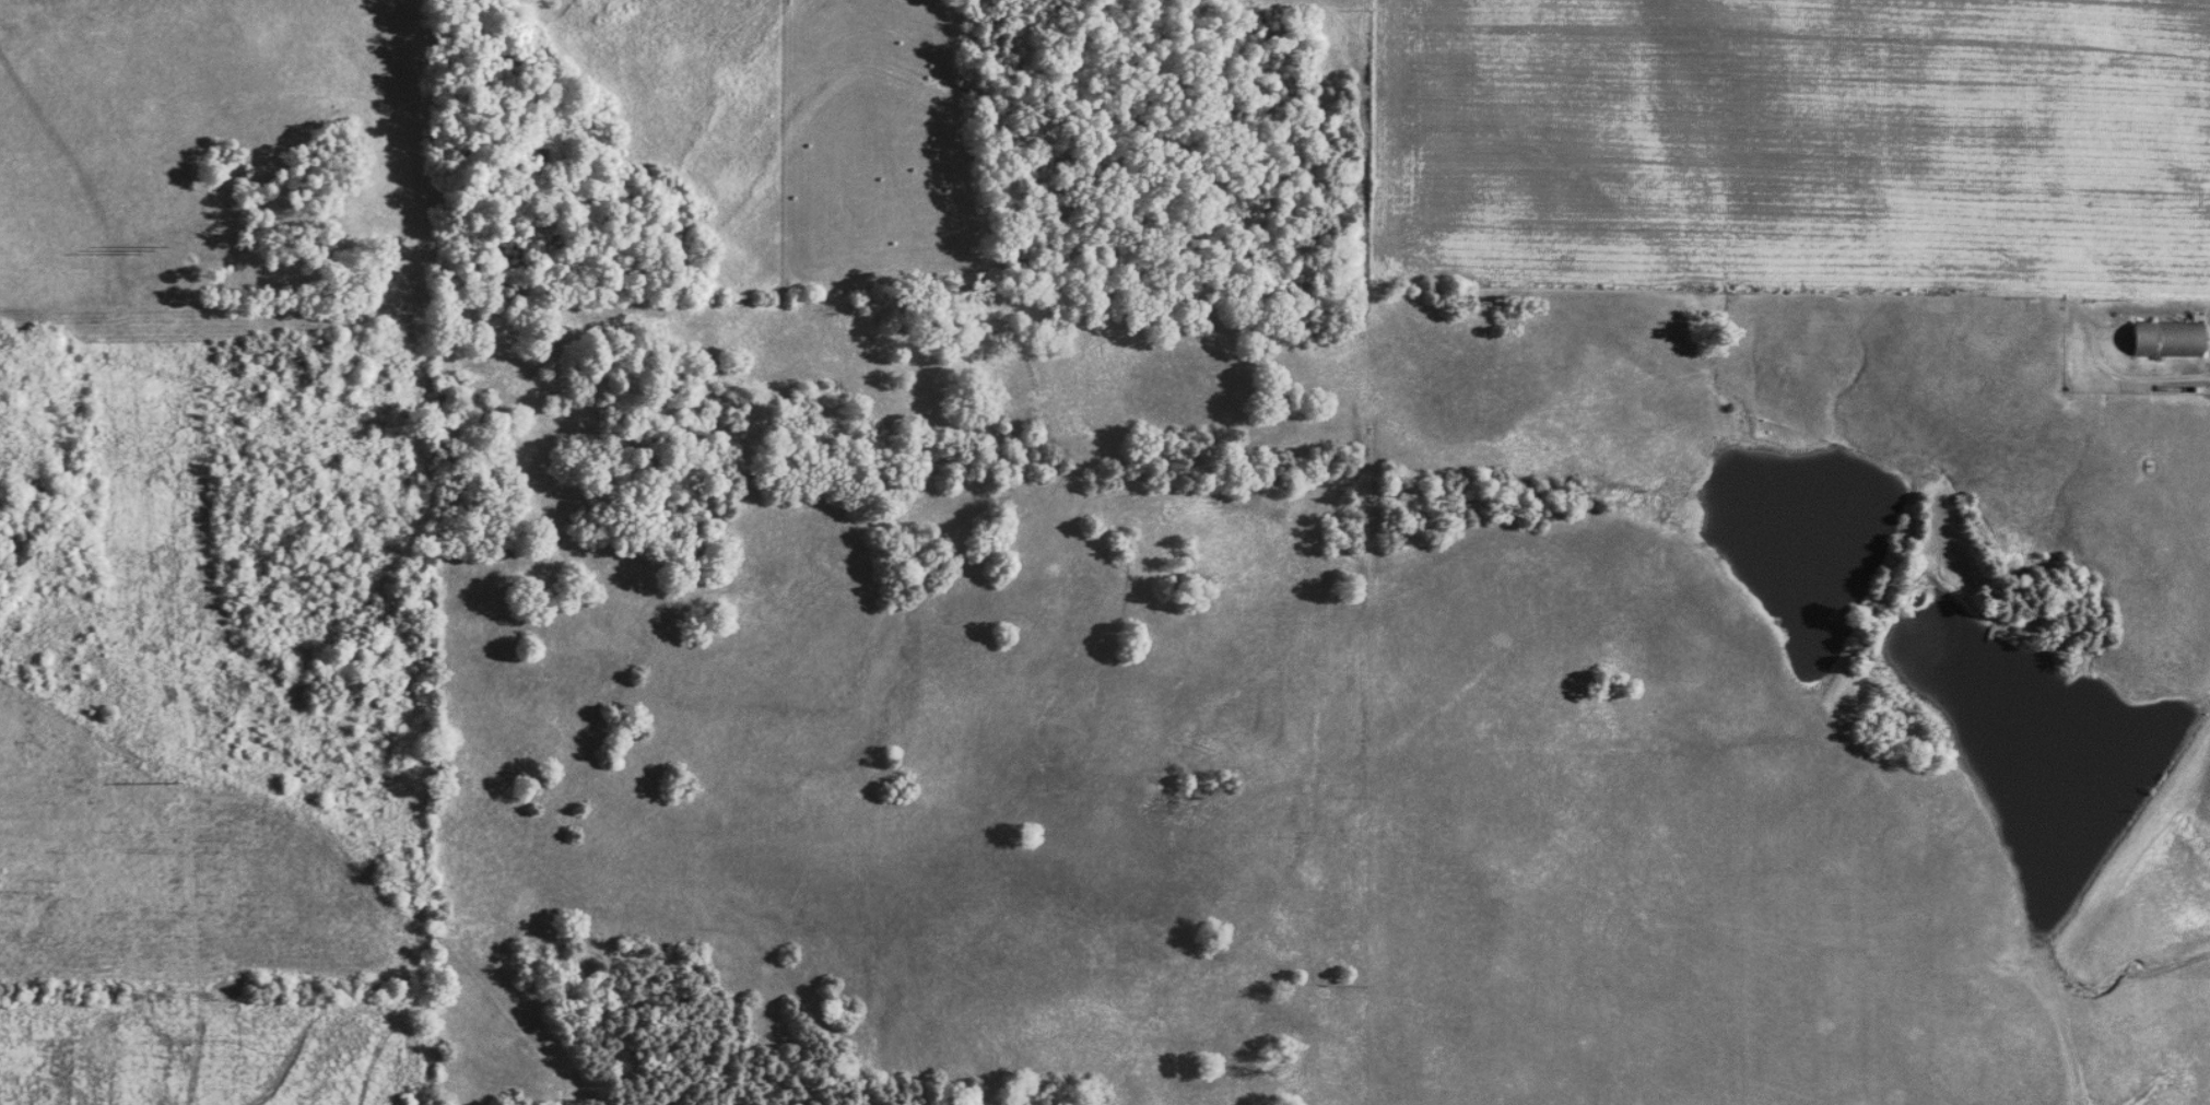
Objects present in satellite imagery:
building: (2164, 339)

